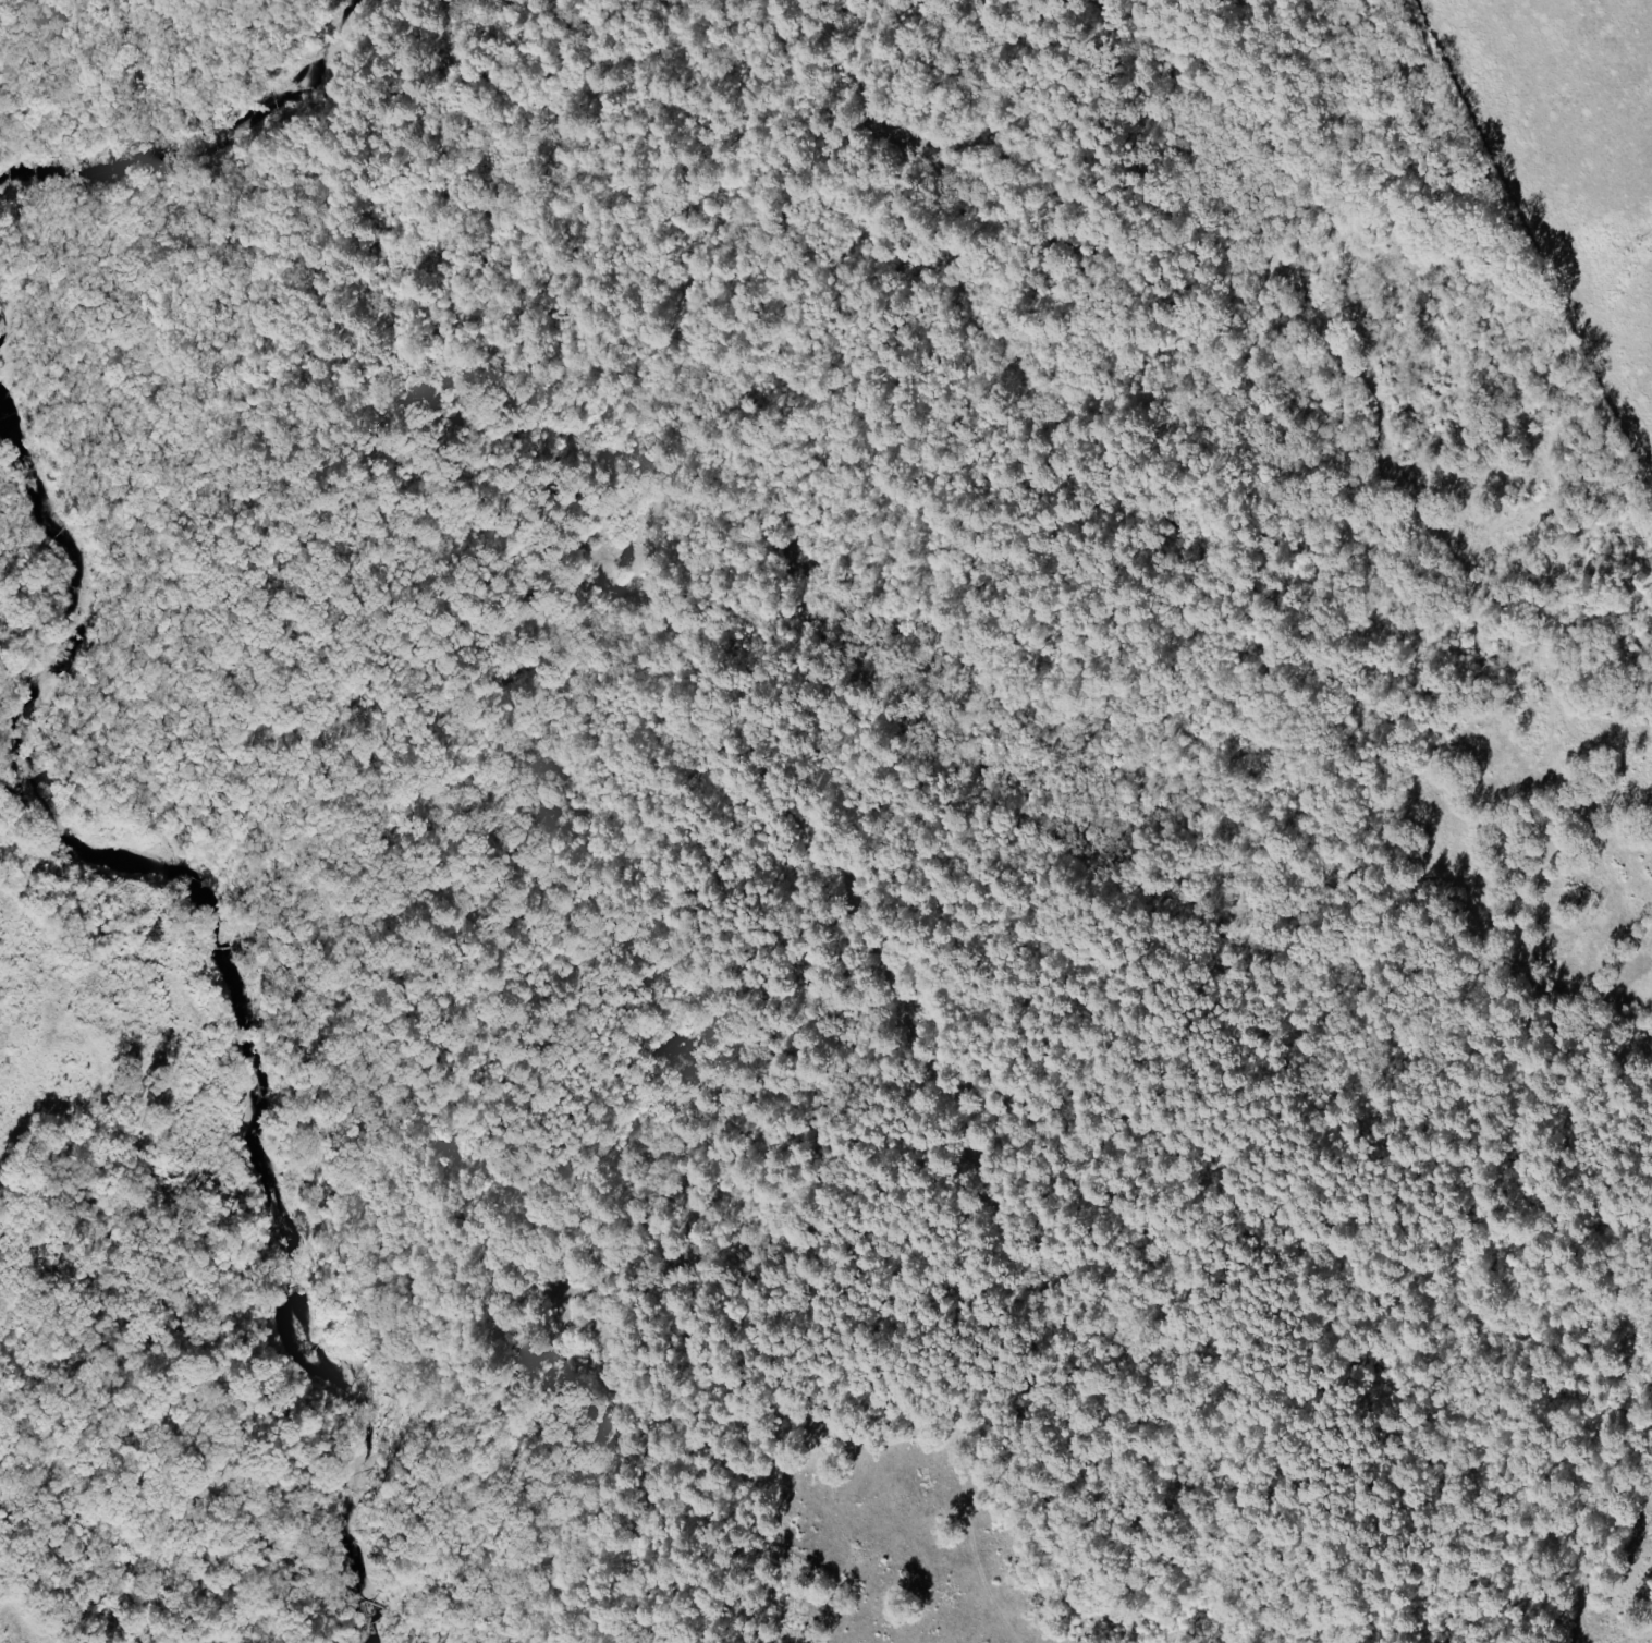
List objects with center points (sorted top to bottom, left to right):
river: (196, 130)
river: (216, 929)

